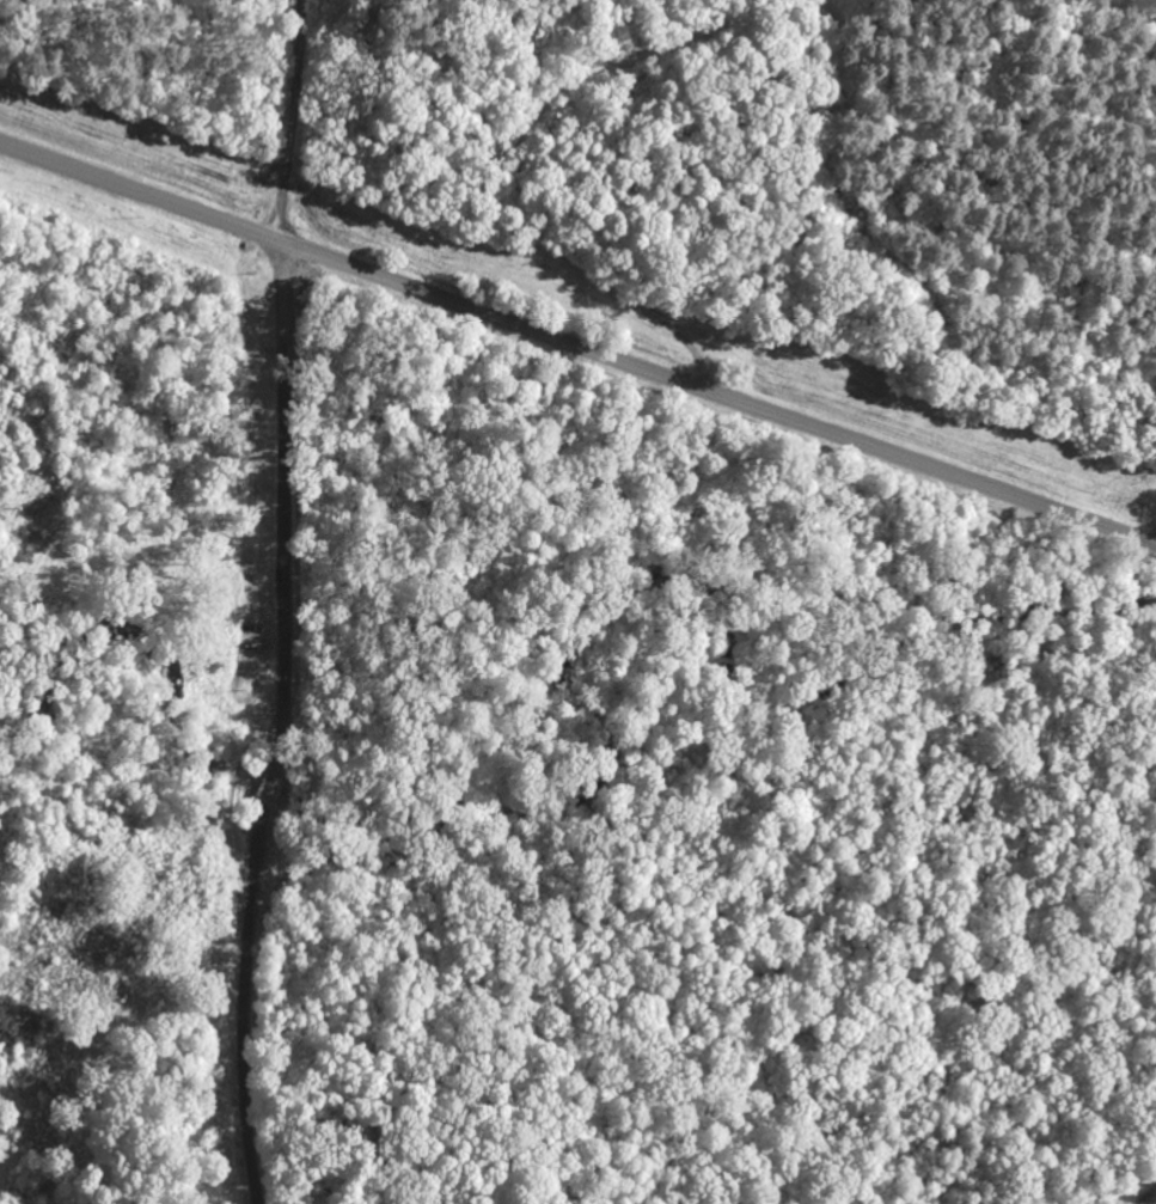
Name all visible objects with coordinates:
road: (293, 121)
road: (577, 344)
road: (281, 707)
road: (1123, 1114)
road: (1064, 1178)
road: (259, 1187)

